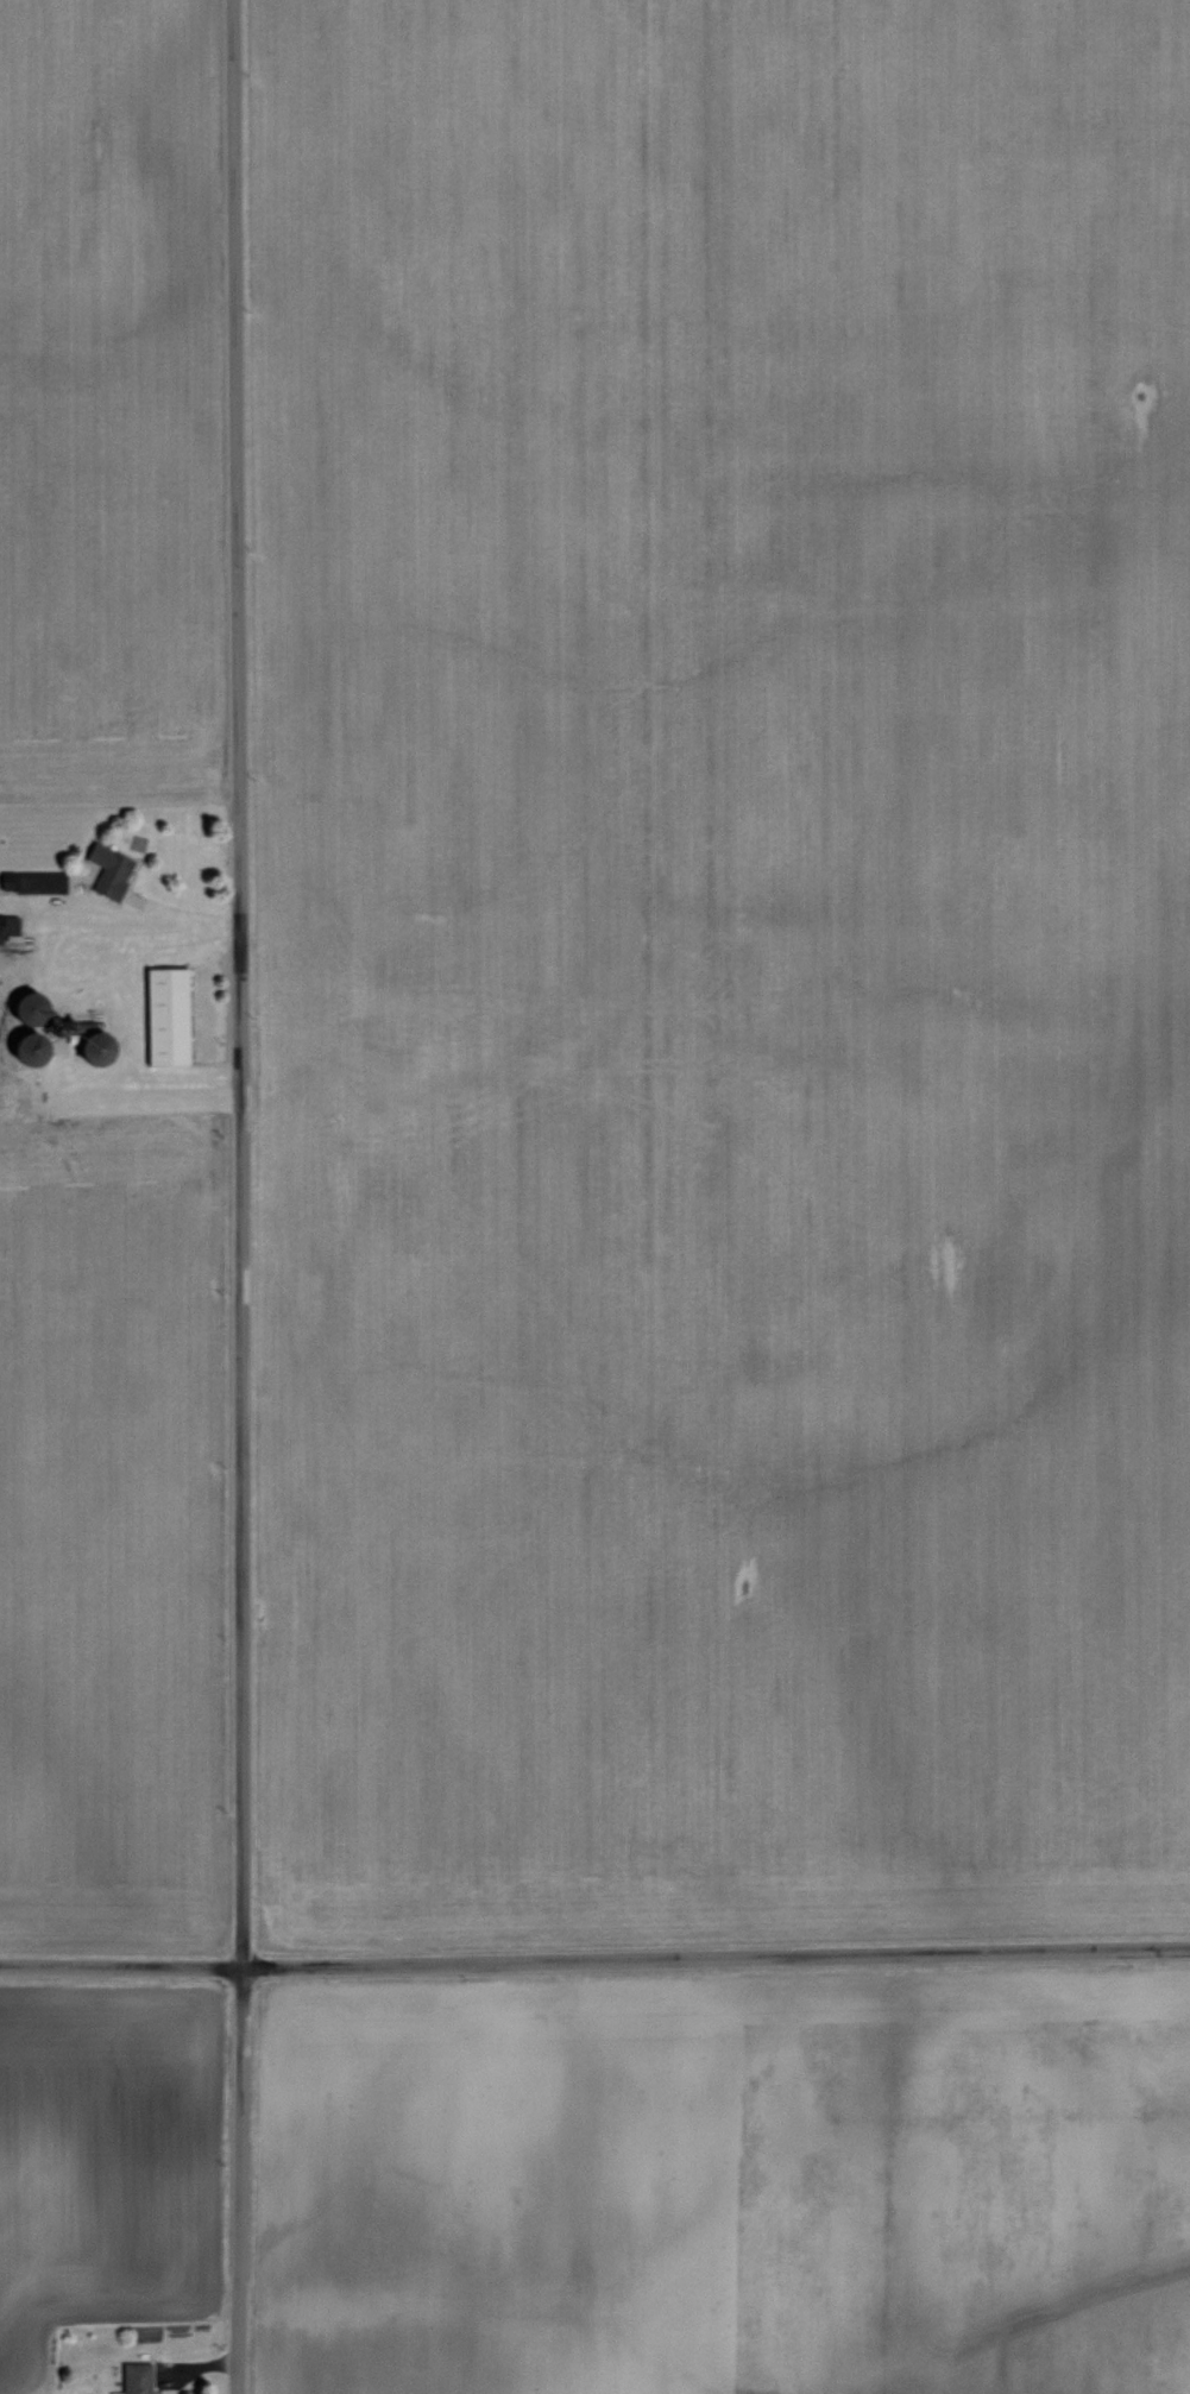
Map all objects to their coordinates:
building: (107, 864)
road: (68, 1002)
building: (164, 1014)
road: (235, 1197)
road: (594, 1959)
building: (132, 2369)
building: (114, 2392)
building: (140, 2392)

